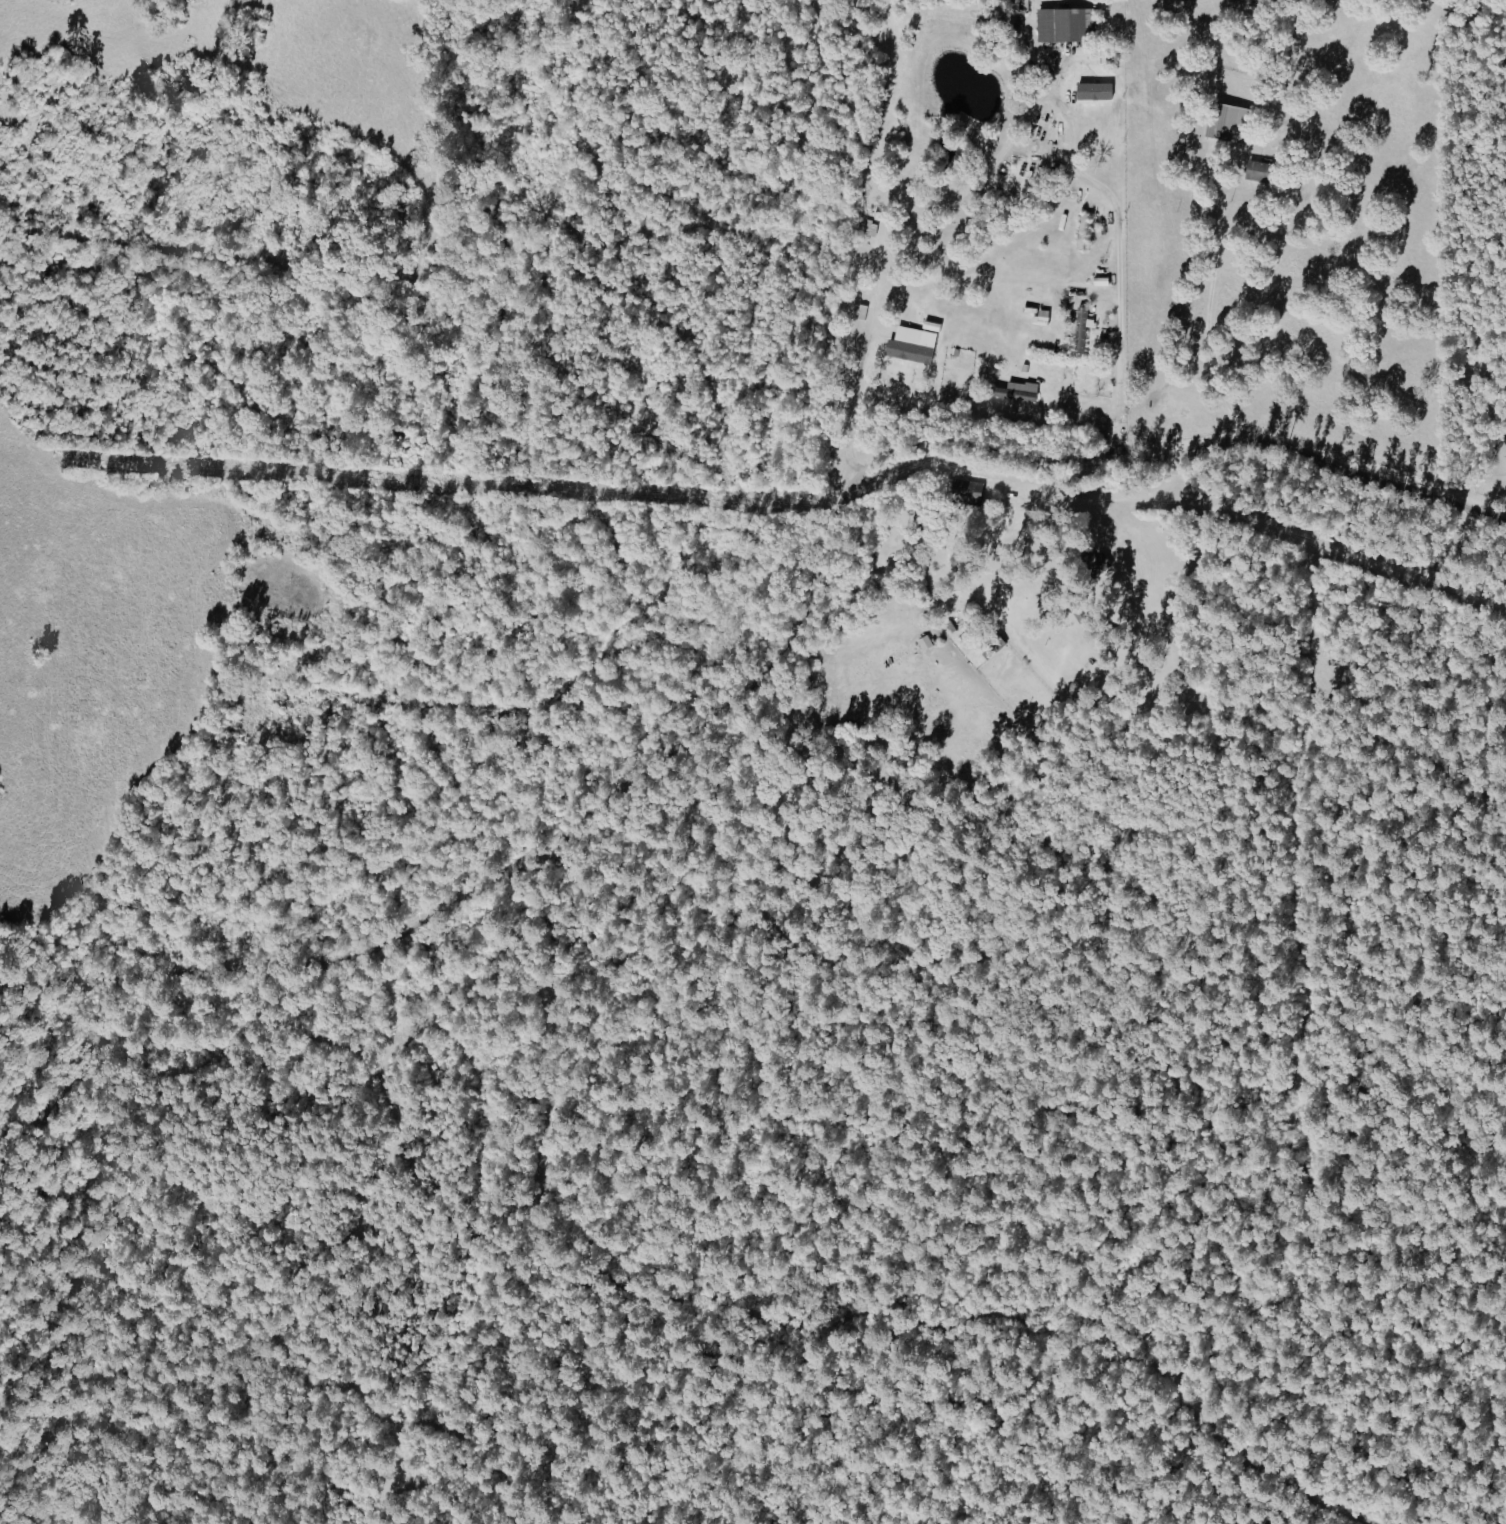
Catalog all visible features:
building: (1066, 24)
building: (1091, 86)
building: (1232, 123)
building: (1260, 171)
road: (1119, 288)
road: (1212, 311)
building: (933, 327)
building: (1082, 329)
building: (914, 345)
building: (1020, 391)
road: (851, 397)
building: (971, 490)
building: (926, 643)
road: (772, 648)

